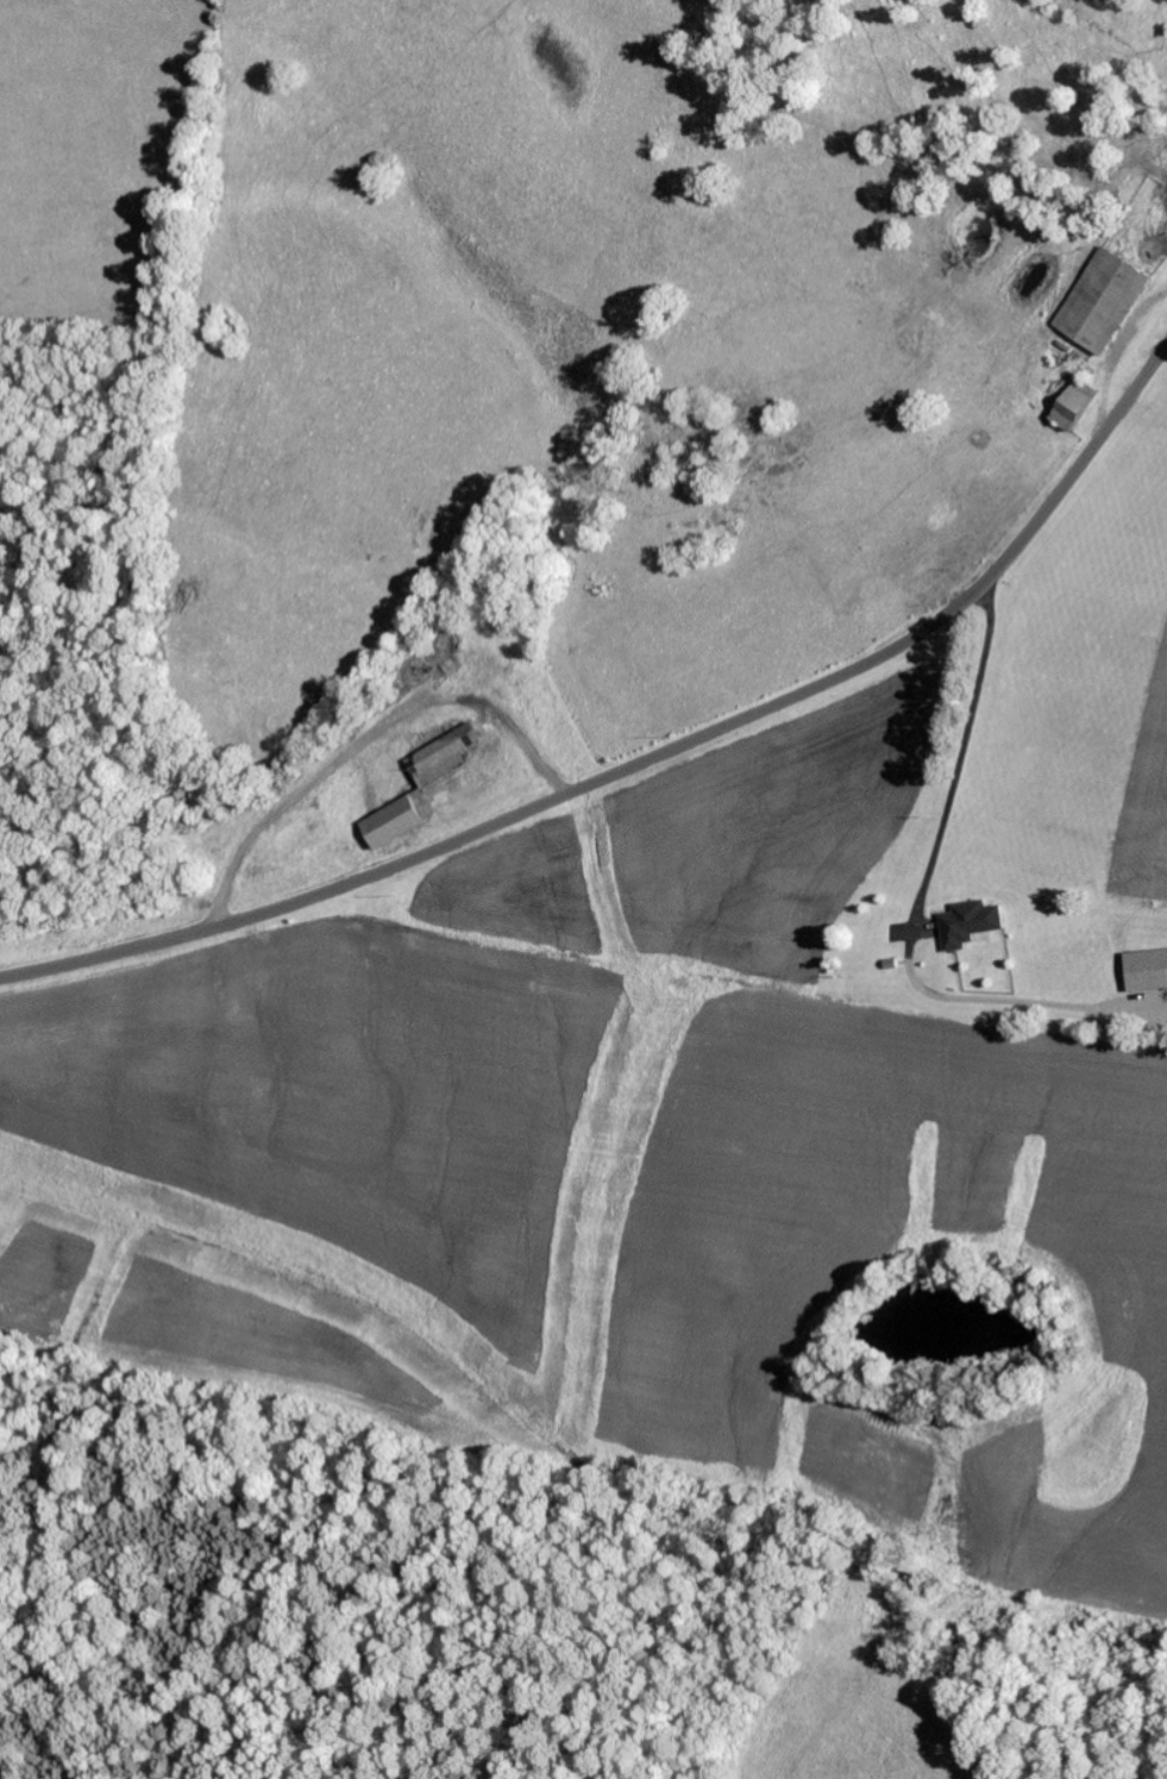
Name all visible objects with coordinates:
building: (1102, 301)
building: (1072, 405)
road: (55, 527)
road: (647, 758)
building: (419, 787)
building: (967, 923)
building: (1146, 971)

